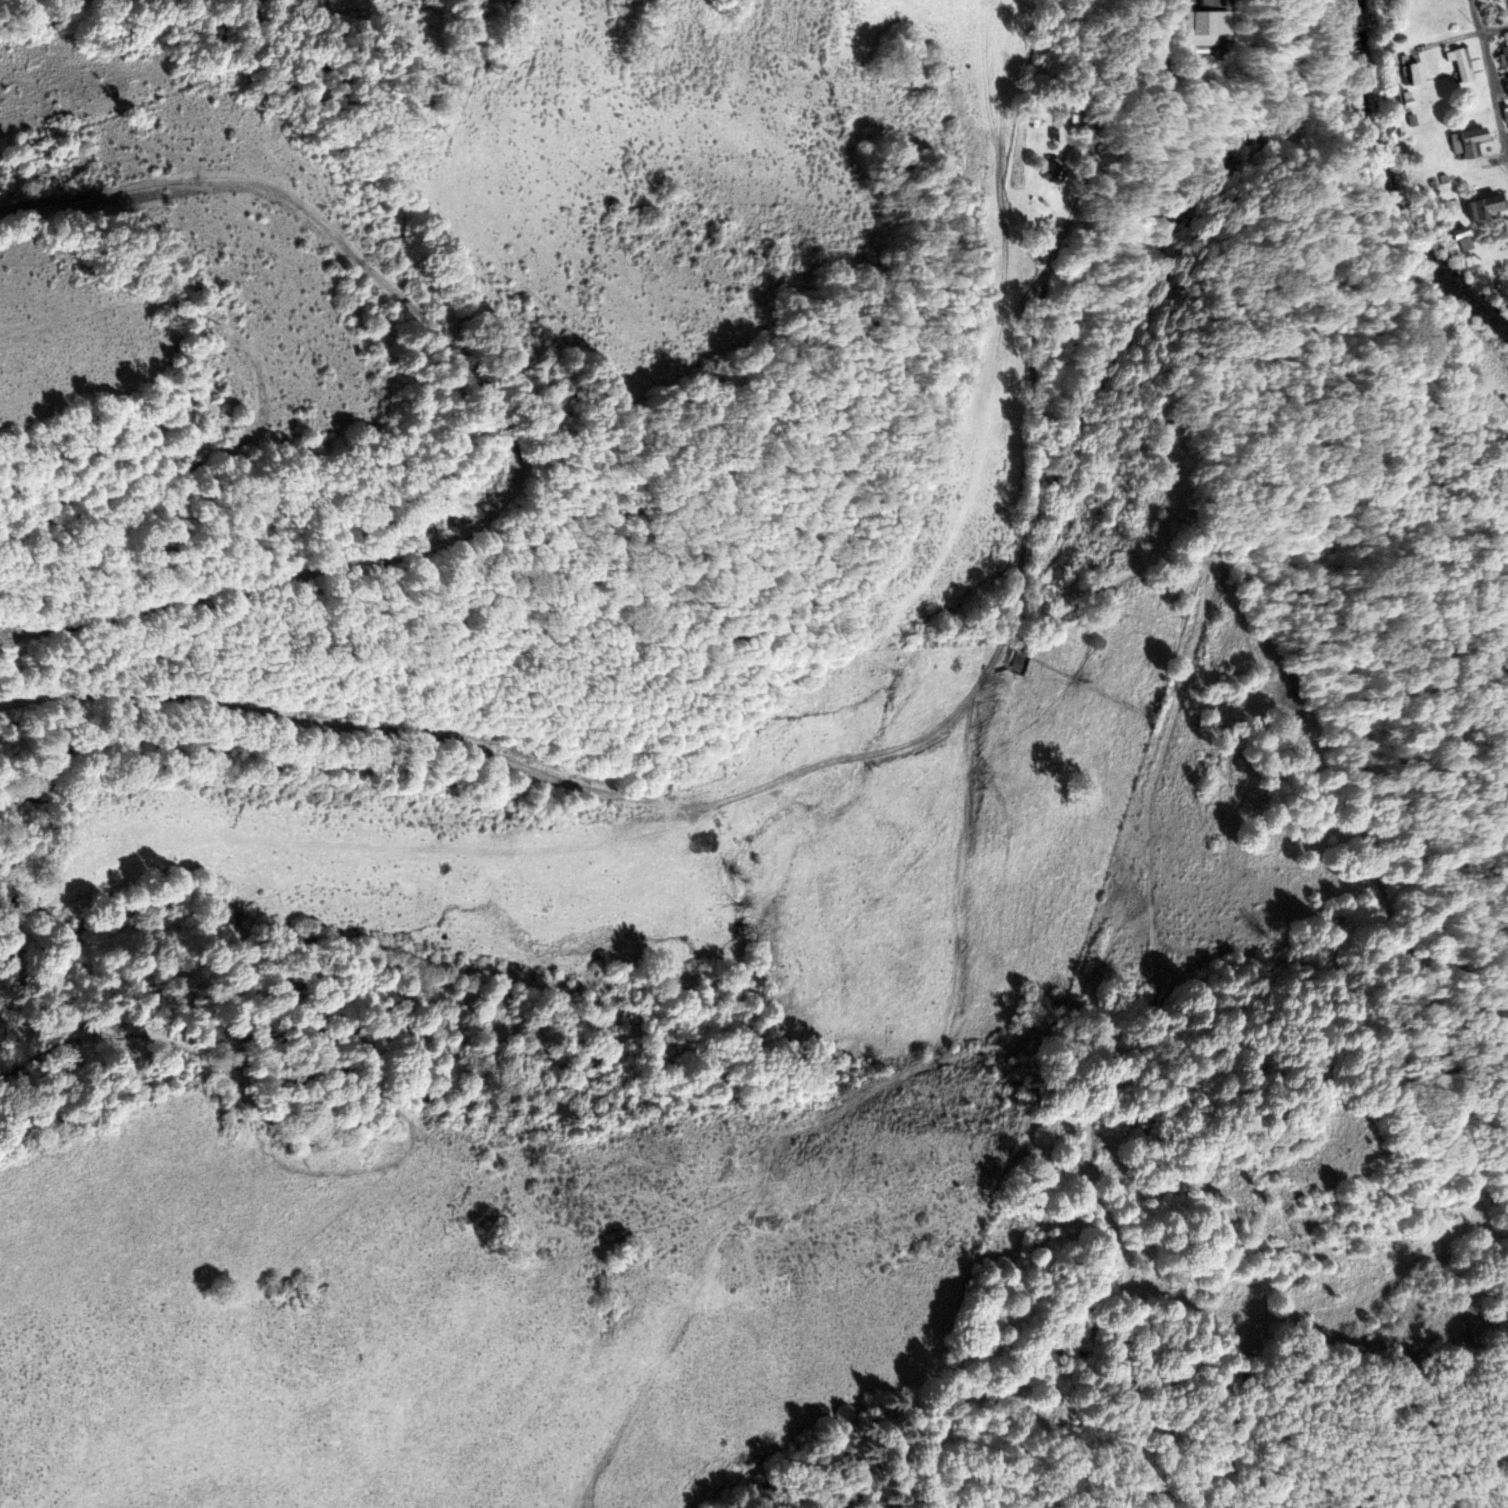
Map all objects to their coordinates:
building: (1485, 0)
building: (1202, 29)
road: (1495, 30)
building: (1503, 57)
building: (1460, 63)
building: (1413, 74)
road: (1491, 79)
building: (1506, 84)
building: (1467, 143)
building: (1050, 172)
river: (1400, 186)
building: (1485, 207)
road: (1068, 339)
road: (508, 421)
road: (510, 761)

